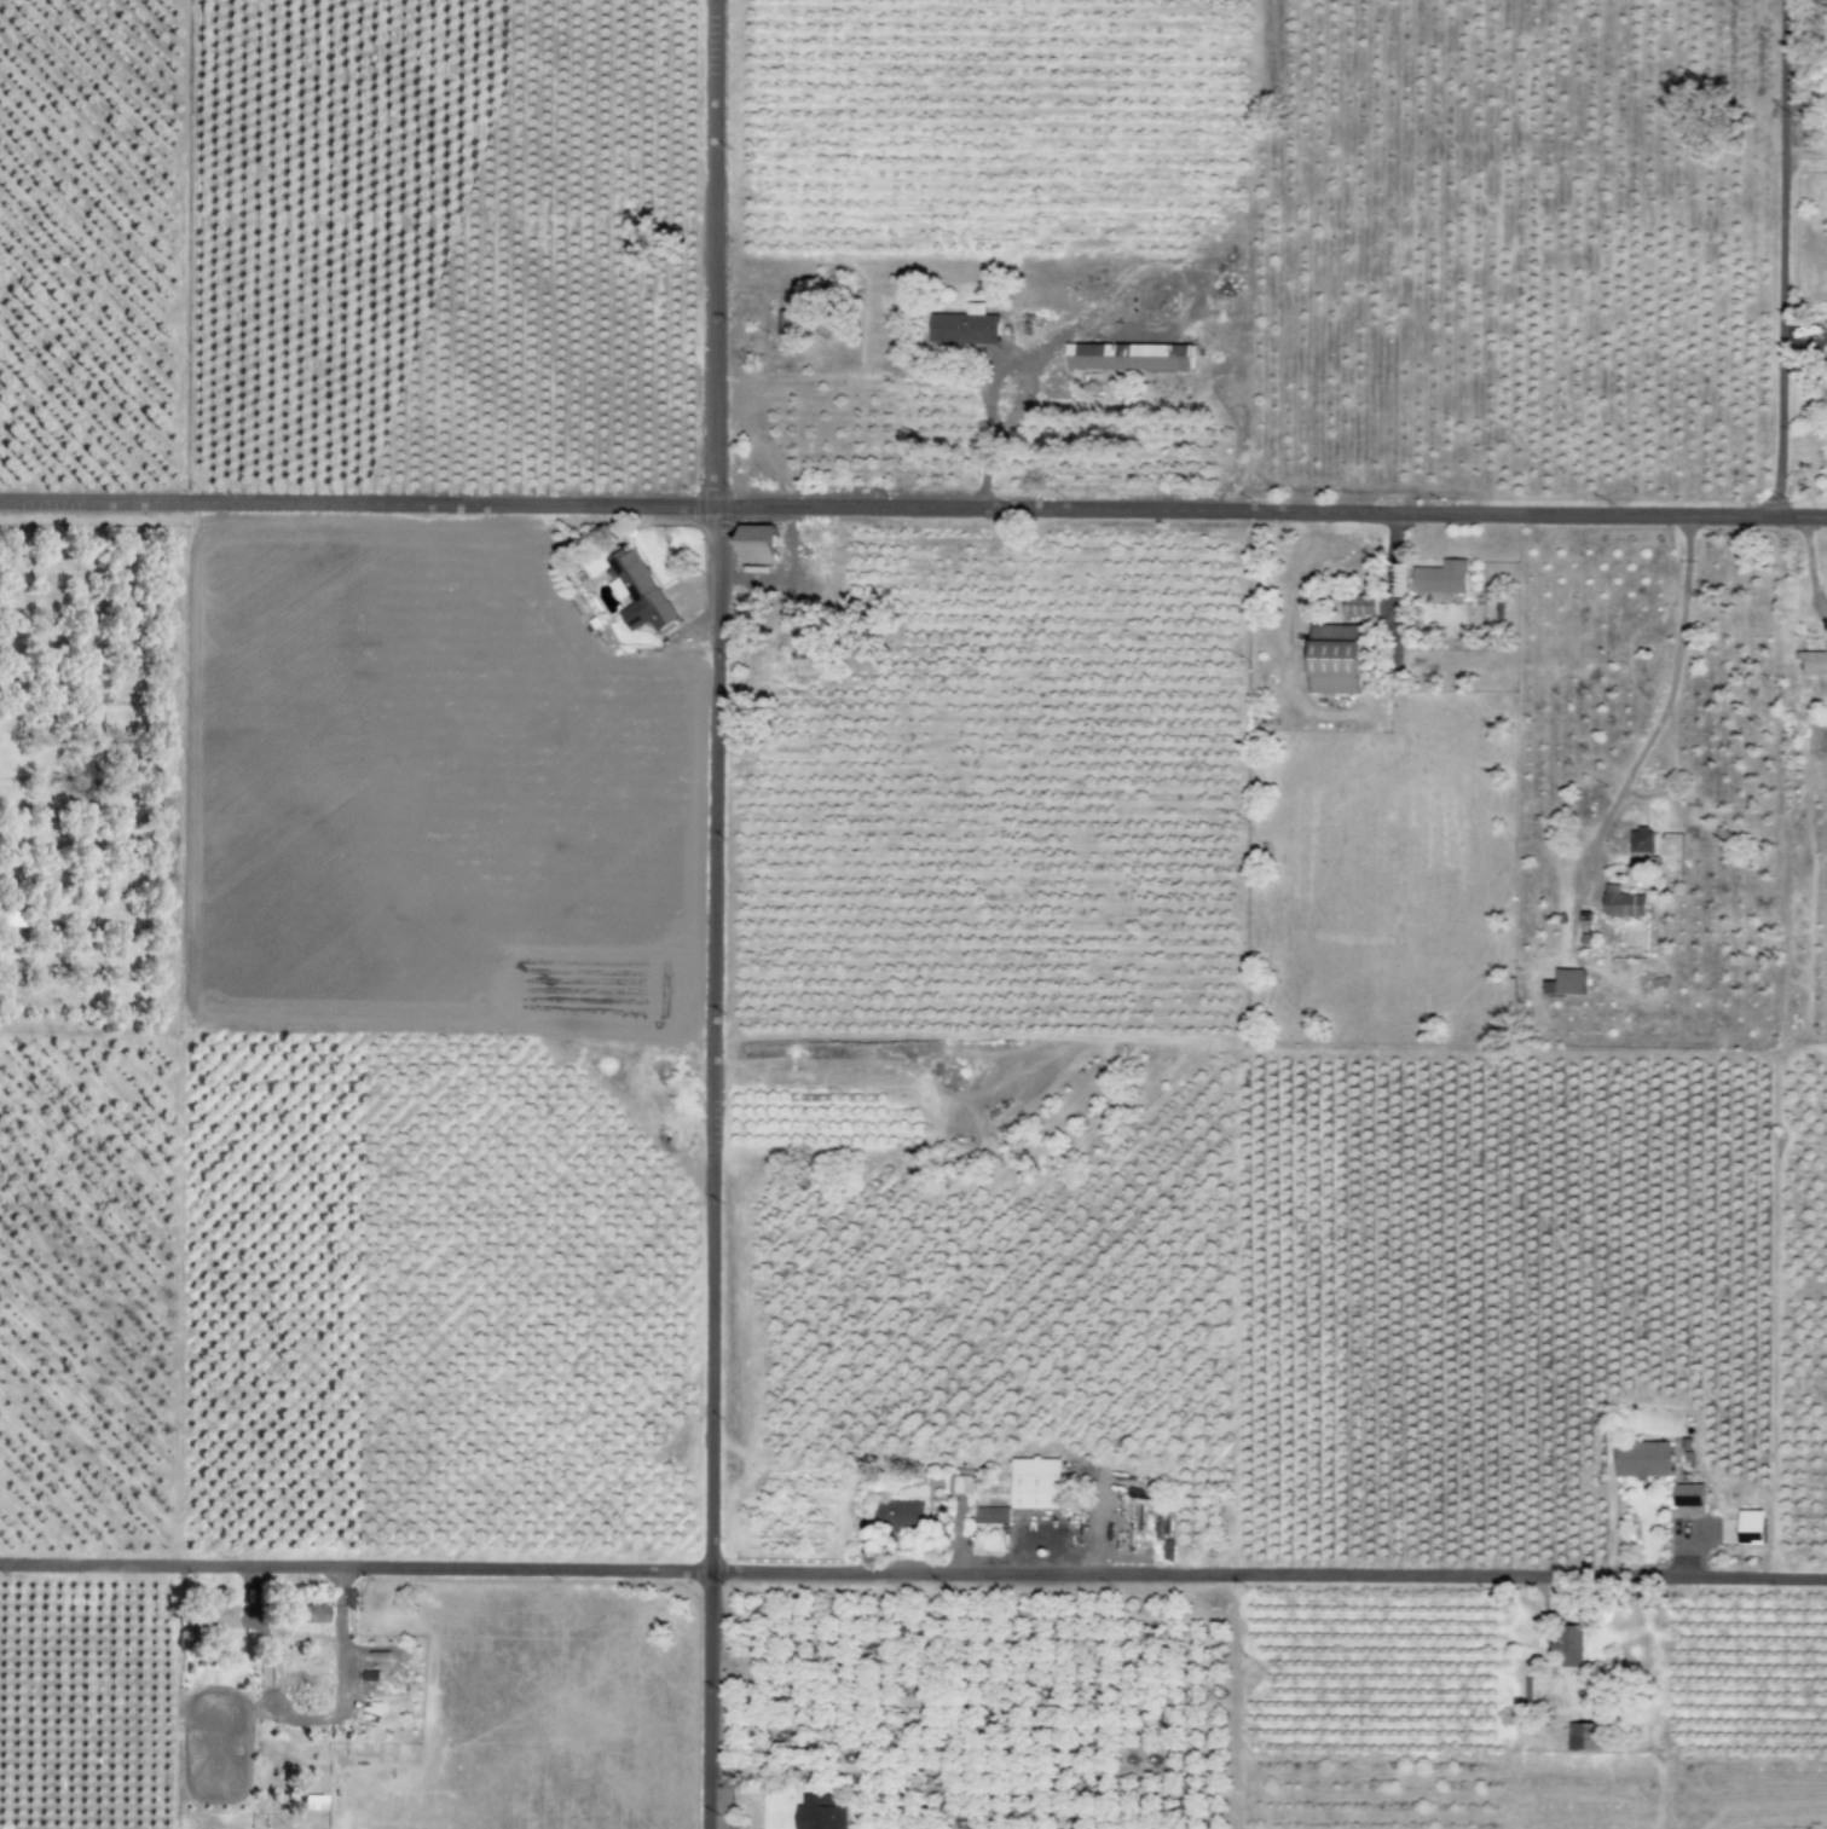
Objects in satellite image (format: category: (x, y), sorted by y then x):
road: (716, 250)
road: (1780, 256)
building: (965, 326)
building: (1128, 357)
road: (357, 500)
road: (1271, 509)
building: (757, 544)
building: (1440, 578)
building: (636, 592)
building: (1357, 604)
building: (1336, 659)
building: (1815, 662)
road: (1659, 717)
building: (1642, 845)
building: (1623, 903)
building: (1565, 982)
road: (711, 1165)
building: (1642, 1459)
building: (959, 1483)
building: (1035, 1483)
building: (1688, 1494)
building: (898, 1513)
building: (990, 1515)
building: (1752, 1527)
road: (913, 1569)
building: (302, 1614)
building: (216, 1615)
building: (1569, 1645)
building: (306, 1684)
building: (382, 1685)
building: (1532, 1691)
building: (1586, 1736)
building: (310, 1802)
building: (819, 1812)

